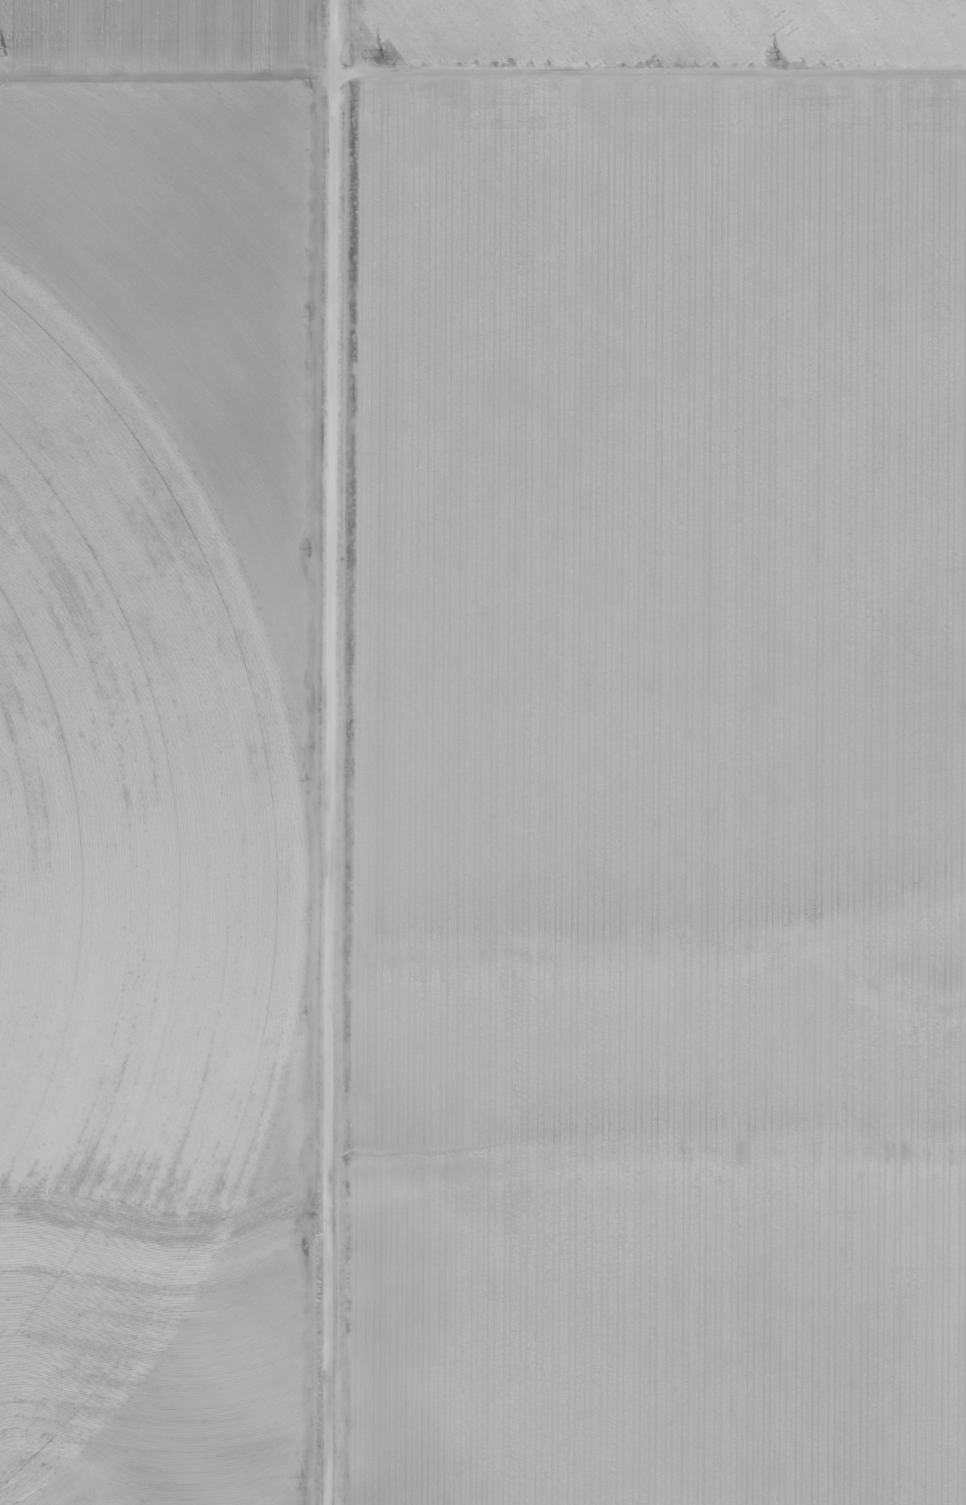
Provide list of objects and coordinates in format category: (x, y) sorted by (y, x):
power tower: (1, 47)
power tower: (374, 49)
power tower: (776, 52)
road: (483, 76)
road: (323, 752)

